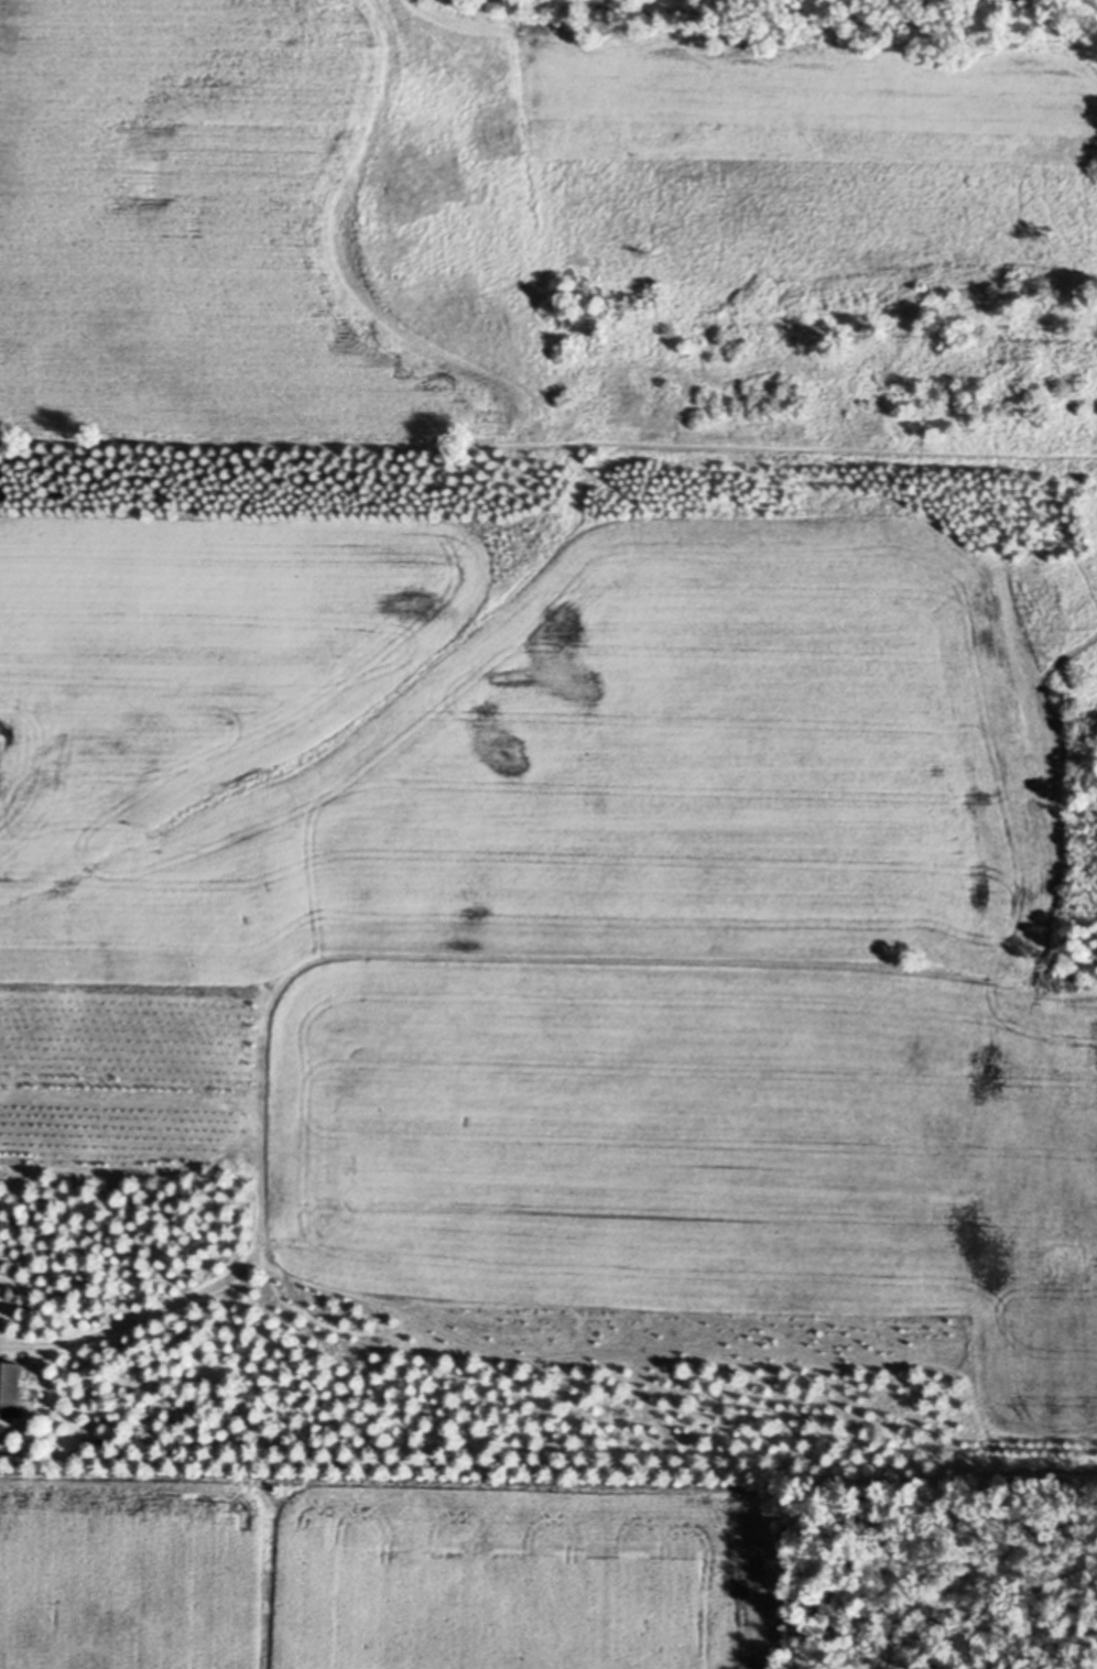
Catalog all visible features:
crop: (214, 231)
building: (8, 1287)
building: (10, 1392)
crop: (369, 1571)

